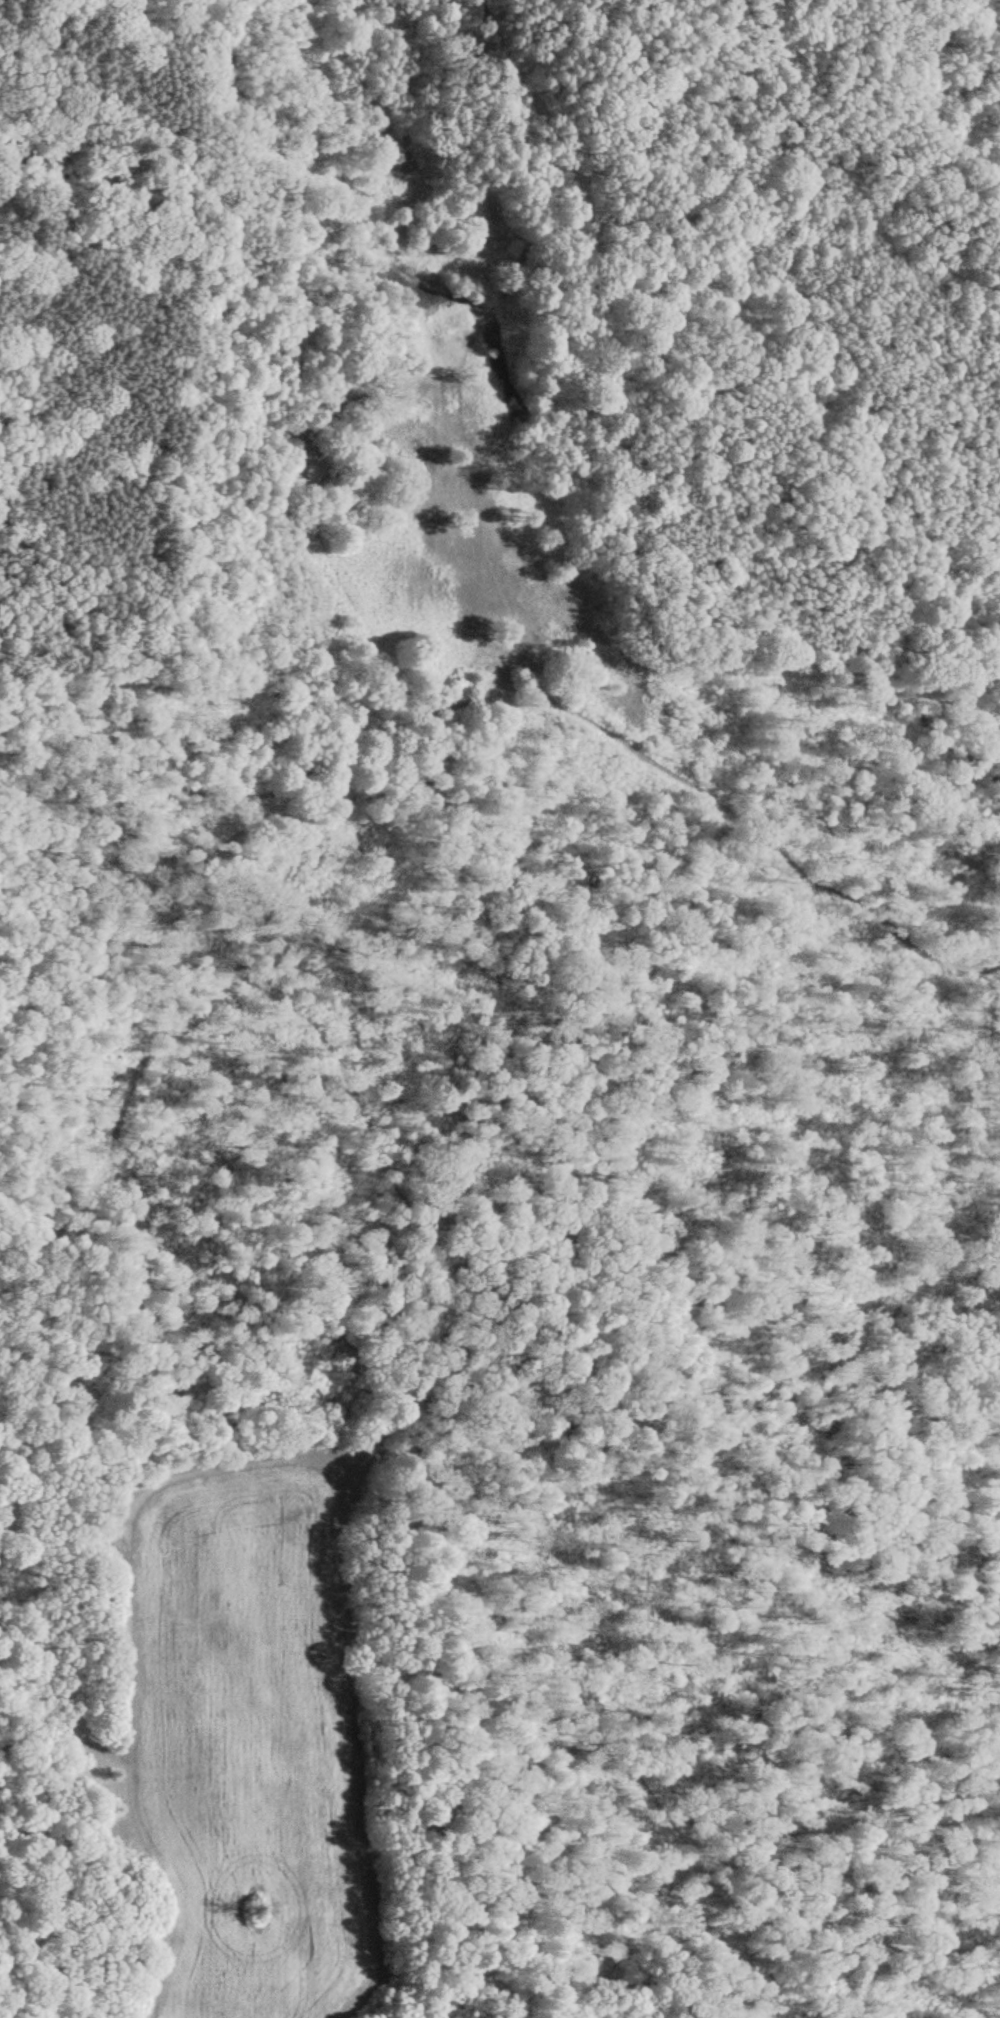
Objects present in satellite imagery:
road: (987, 1862)
road: (823, 1993)

